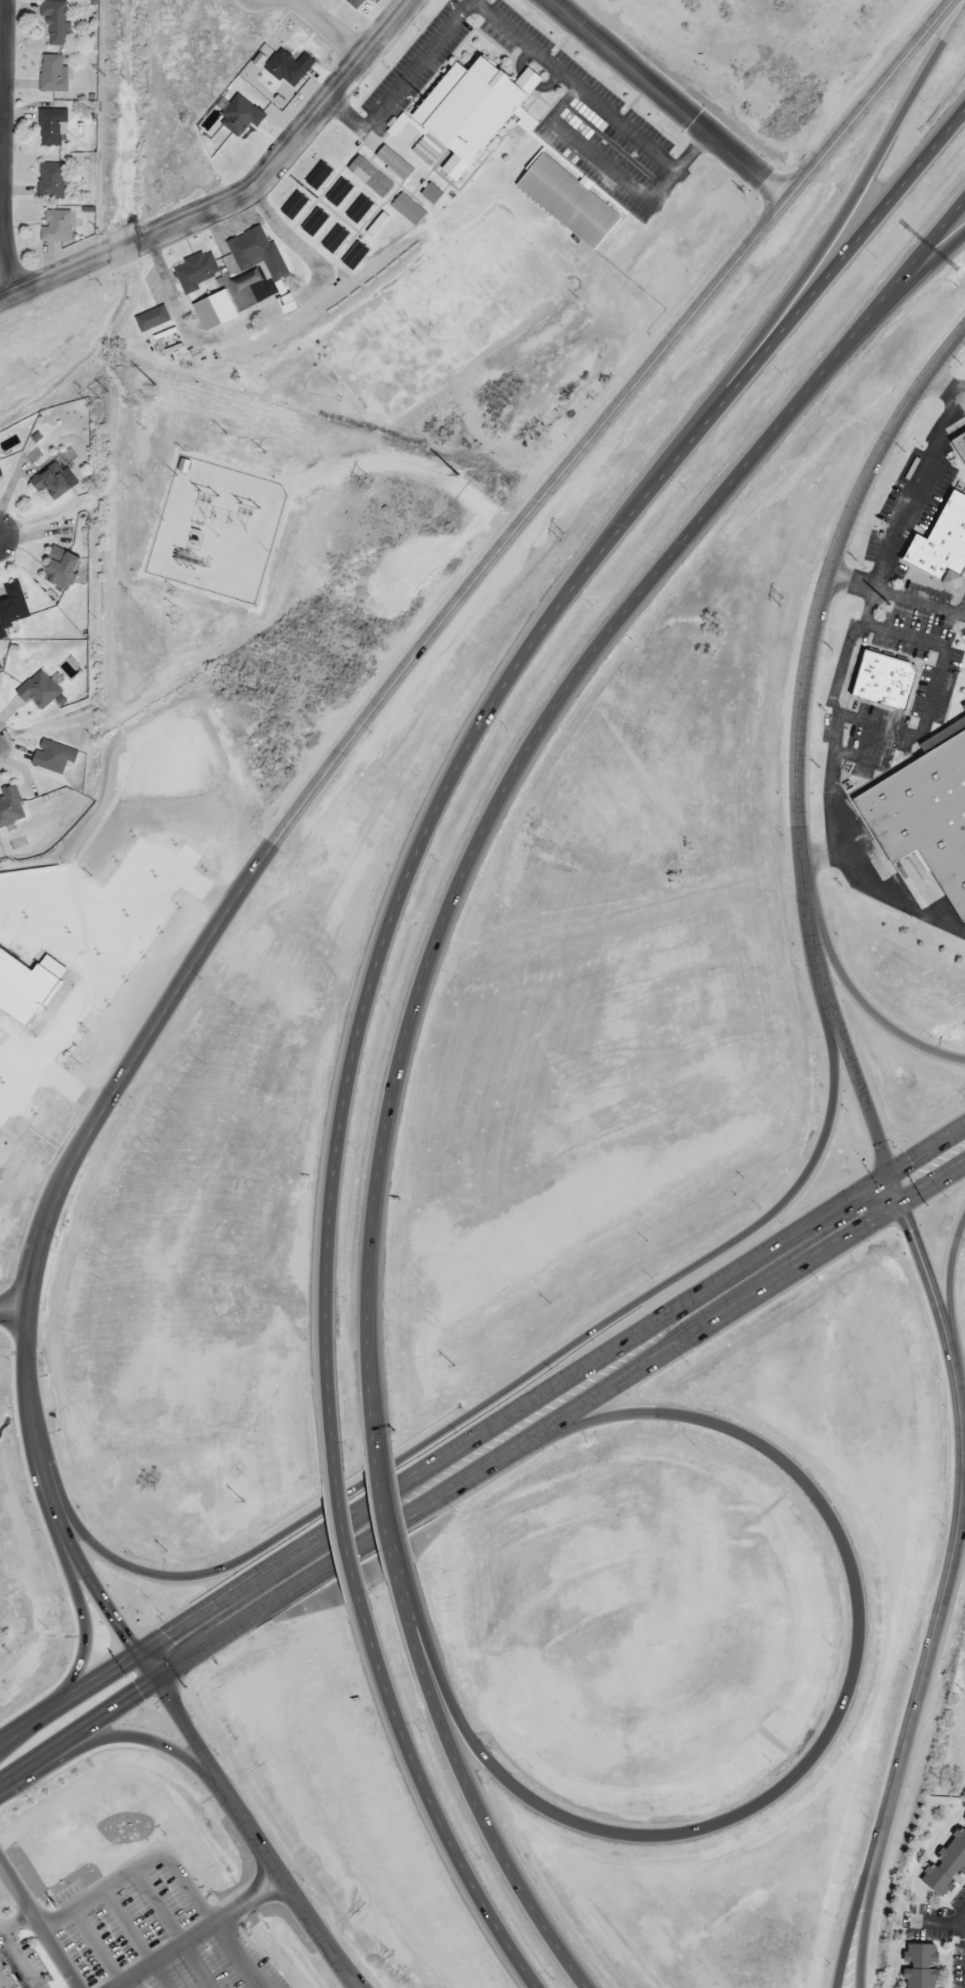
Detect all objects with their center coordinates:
building: (353, 2)
building: (52, 21)
road: (323, 27)
building: (288, 65)
building: (49, 73)
power tower: (100, 76)
road: (666, 99)
building: (469, 109)
building: (240, 113)
building: (49, 126)
road: (1, 149)
building: (391, 162)
building: (315, 176)
building: (367, 176)
building: (48, 180)
building: (336, 192)
building: (428, 193)
road: (235, 194)
building: (566, 201)
building: (291, 205)
building: (358, 208)
building: (405, 209)
building: (312, 222)
building: (54, 225)
road: (829, 232)
power tower: (98, 235)
building: (334, 238)
building: (247, 248)
building: (354, 254)
road: (921, 265)
building: (192, 271)
building: (244, 280)
building: (214, 308)
building: (149, 318)
power tower: (135, 379)
power tower: (93, 398)
power tower: (224, 433)
power tower: (339, 441)
power tower: (262, 451)
building: (957, 451)
road: (571, 461)
building: (0, 474)
power tower: (362, 479)
building: (50, 482)
power tower: (205, 492)
power tower: (245, 504)
power tower: (566, 508)
power substation: (213, 530)
power tower: (560, 537)
building: (935, 548)
building: (58, 568)
power tower: (784, 573)
road: (897, 592)
power tower: (778, 601)
building: (11, 603)
building: (881, 679)
building: (40, 688)
building: (963, 705)
road: (484, 717)
road: (797, 746)
building: (53, 755)
road: (522, 760)
building: (10, 805)
building: (926, 811)
building: (22, 987)
road: (866, 1008)
road: (98, 1112)
road: (927, 1167)
traffic signals: (890, 1193)
road: (922, 1273)
road: (949, 1285)
road: (12, 1311)
road: (24, 1326)
road: (677, 1329)
road: (503, 1389)
road: (961, 1510)
road: (56, 1514)
road: (385, 1516)
road: (343, 1531)
road: (304, 1566)
road: (79, 1600)
road: (404, 1603)
traffic signals: (145, 1669)
road: (920, 1673)
road: (840, 1693)
road: (71, 1696)
road: (78, 1729)
road: (133, 1737)
road: (428, 1799)
road: (476, 1814)
building: (964, 1820)
road: (248, 1829)
building: (946, 1865)
road: (99, 1887)
road: (855, 1903)
road: (210, 1918)
road: (169, 1927)
road: (38, 1928)
parking lot: (152, 1930)
road: (196, 1933)
road: (128, 1938)
road: (94, 1947)
road: (346, 1966)
building: (918, 1966)
building: (6, 1978)

